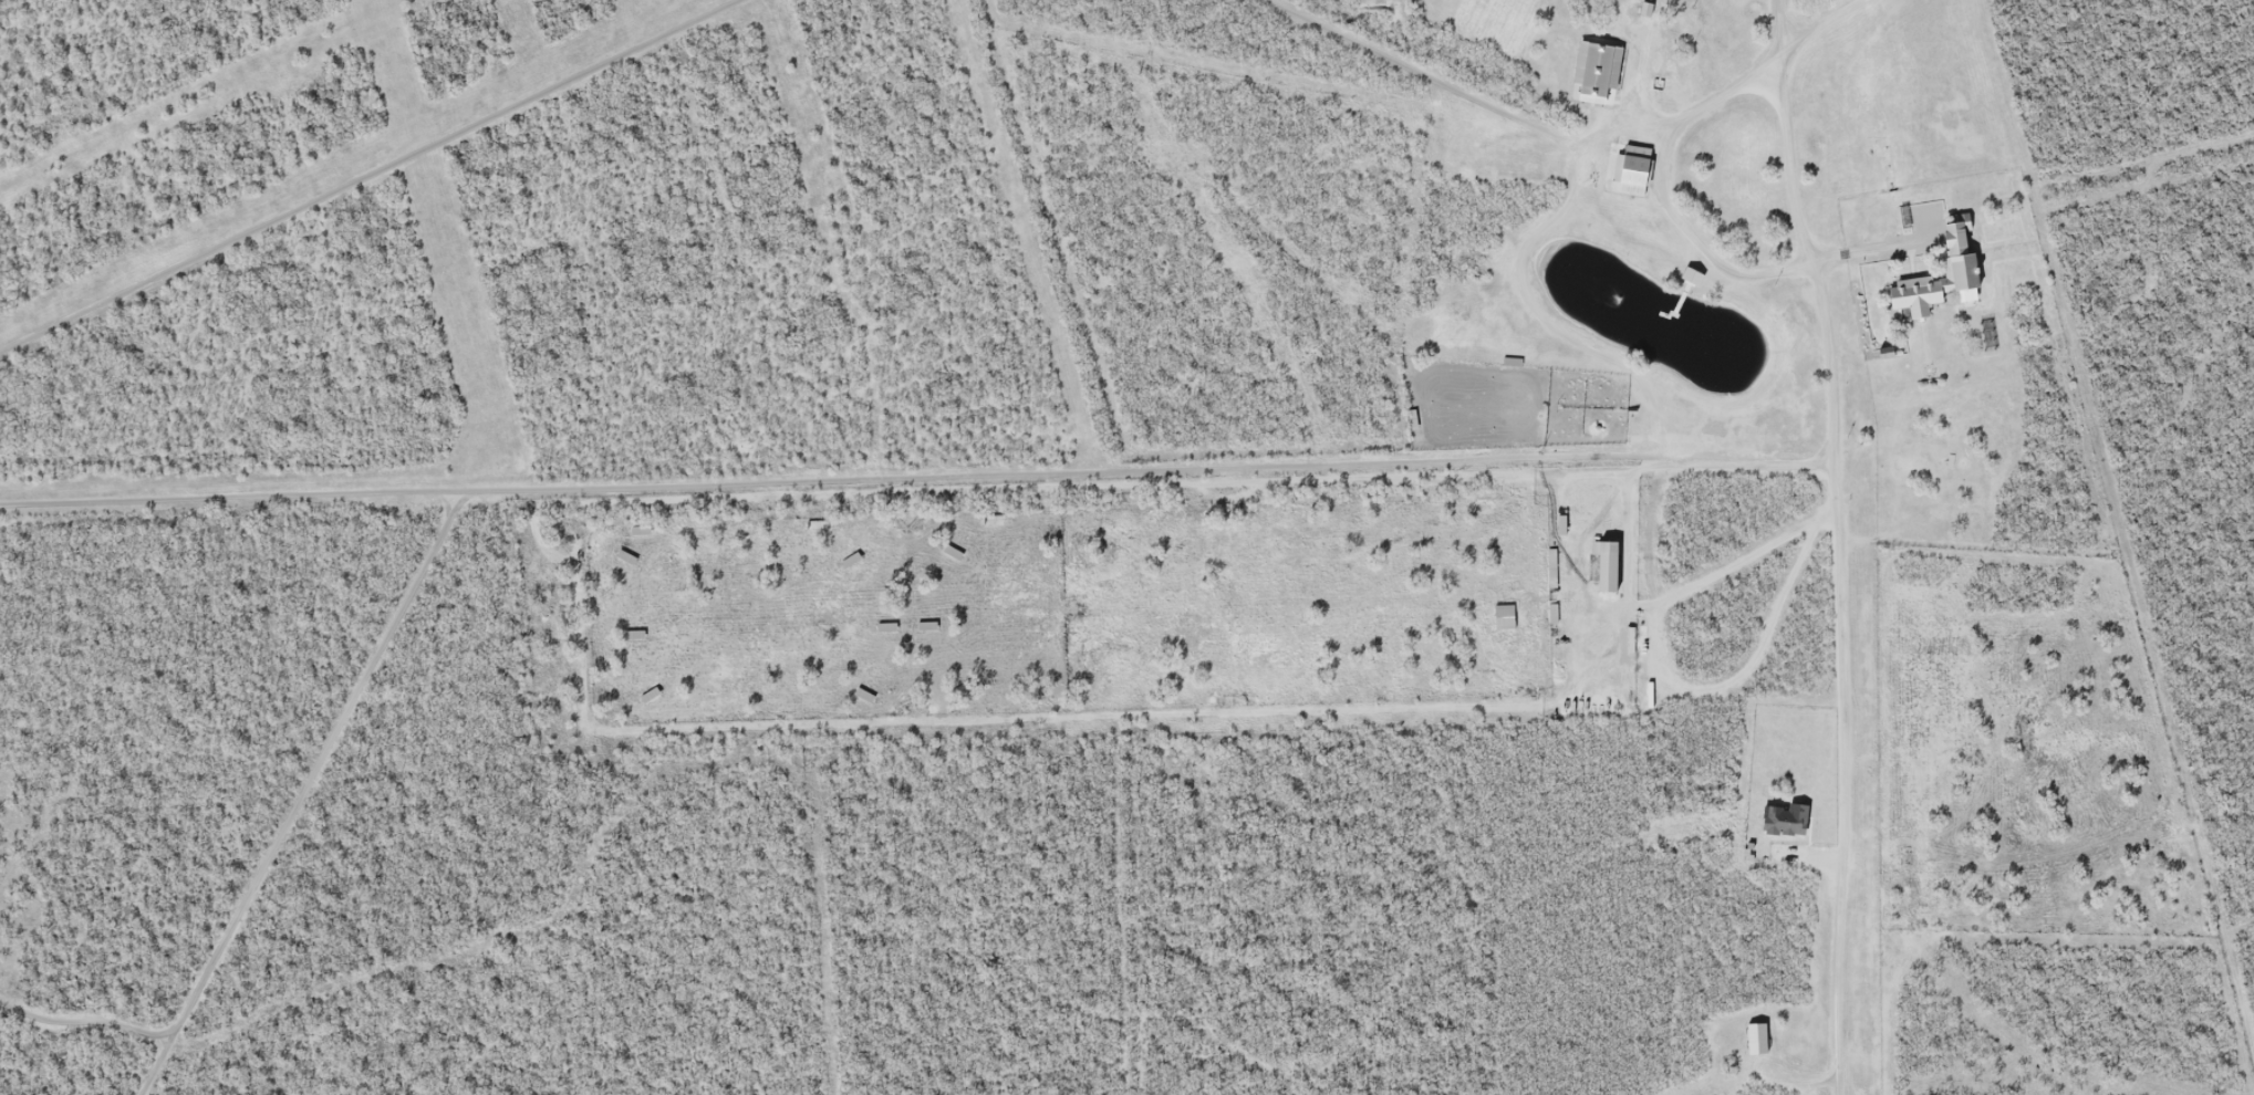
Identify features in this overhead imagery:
road: (1768, 61)
road: (1413, 69)
building: (1600, 70)
road: (1618, 137)
building: (1634, 170)
building: (1963, 267)
road: (1838, 564)
building: (1612, 565)

